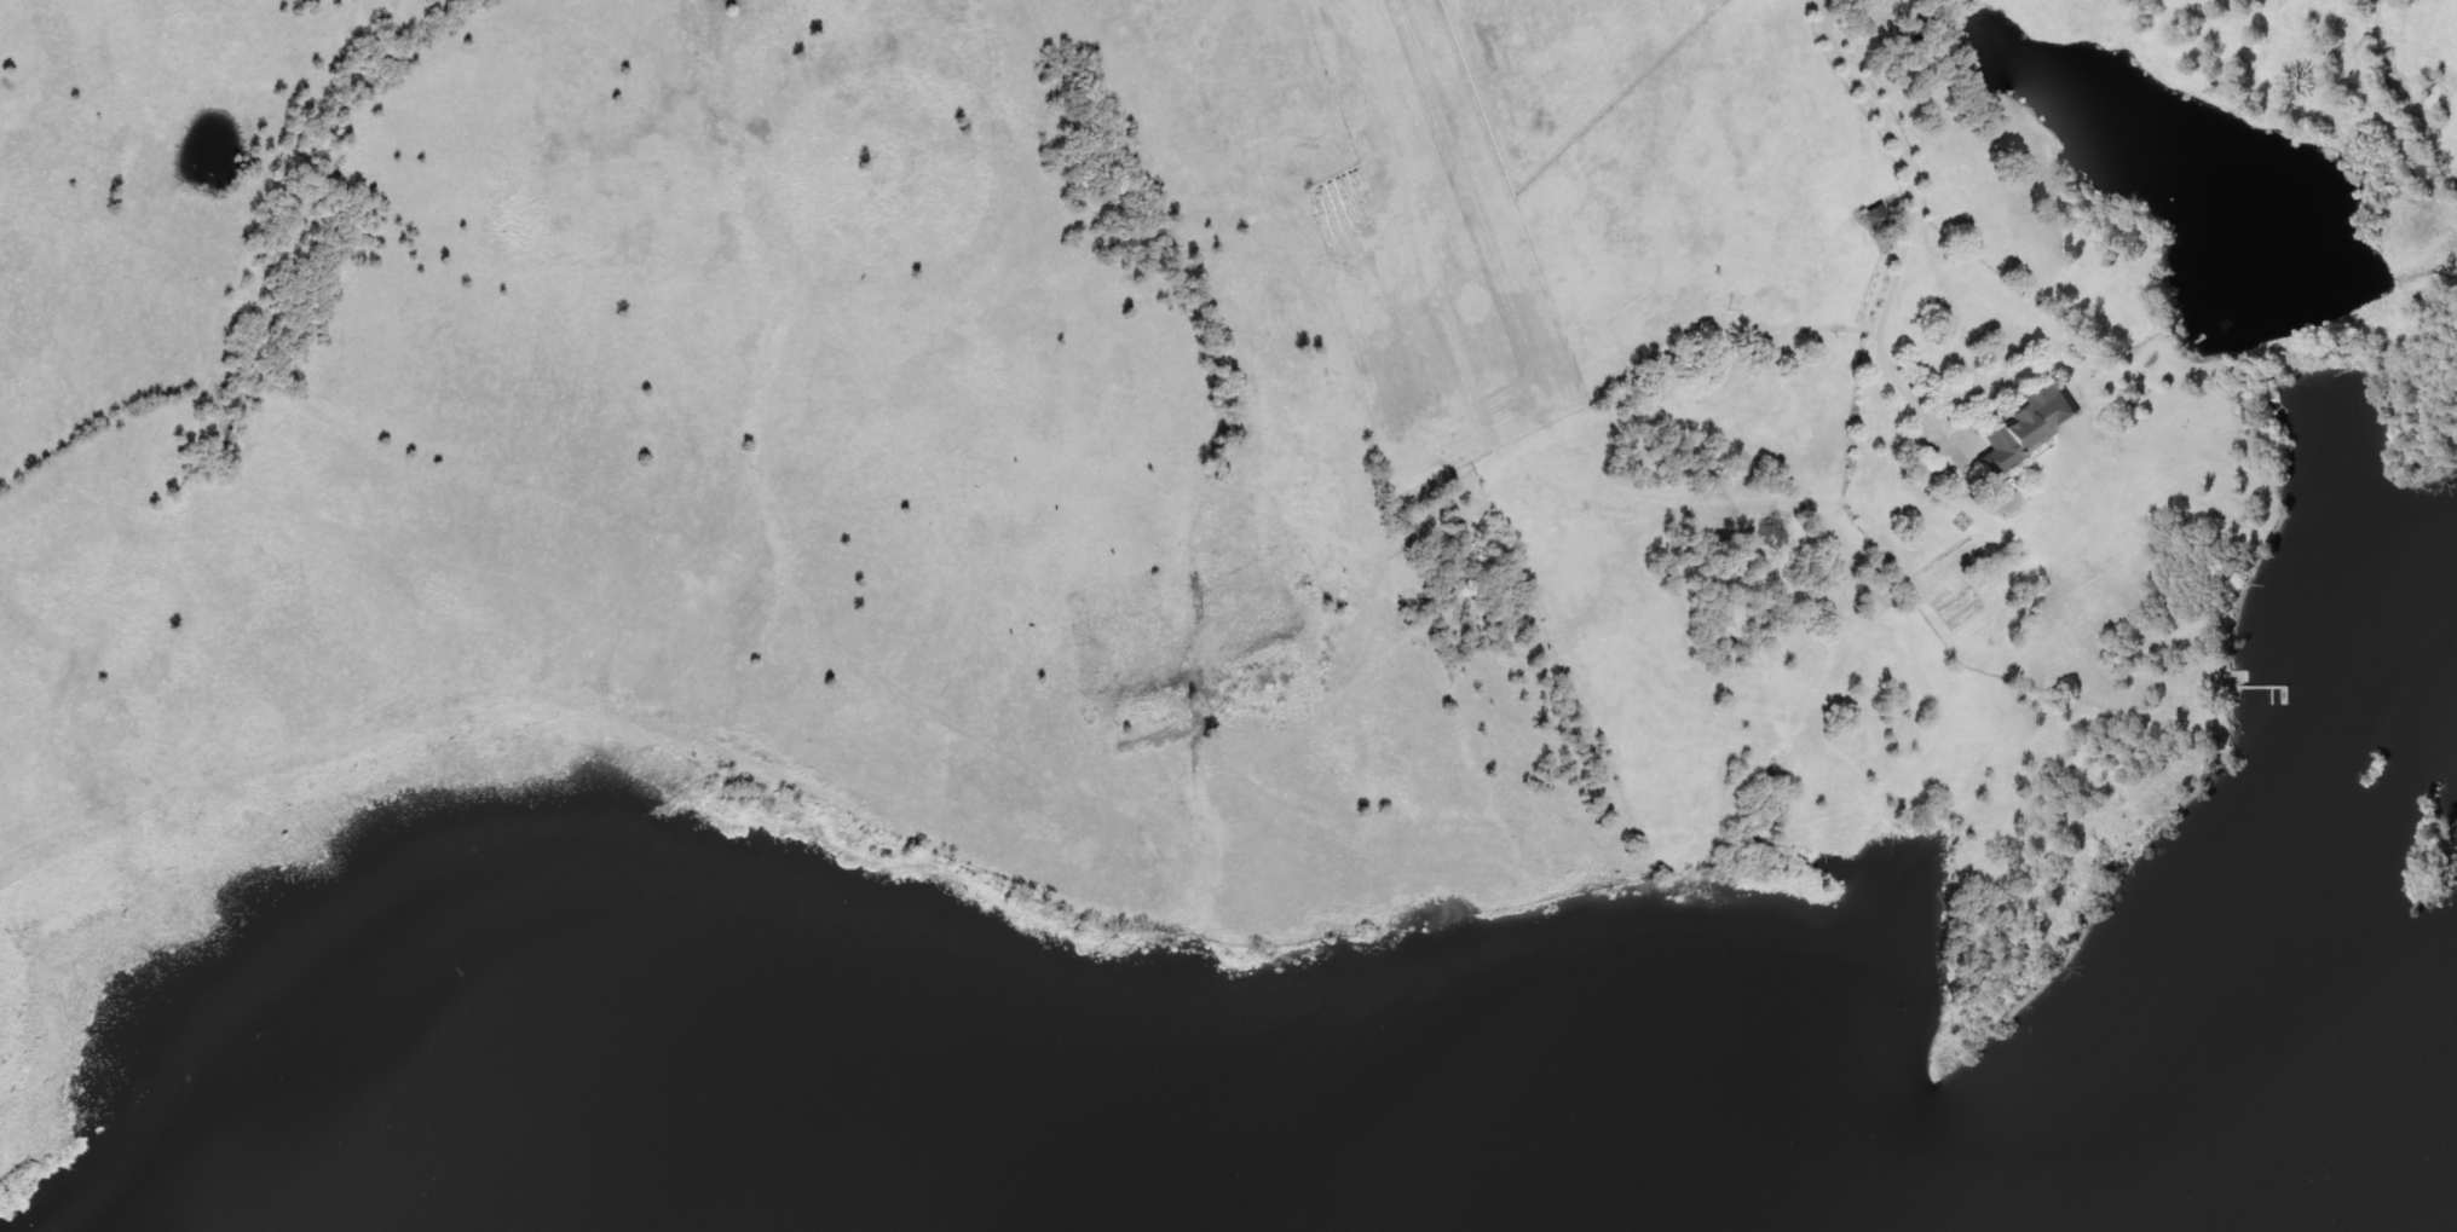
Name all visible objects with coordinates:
road: (2382, 112)
building: (1875, 216)
building: (2026, 423)

